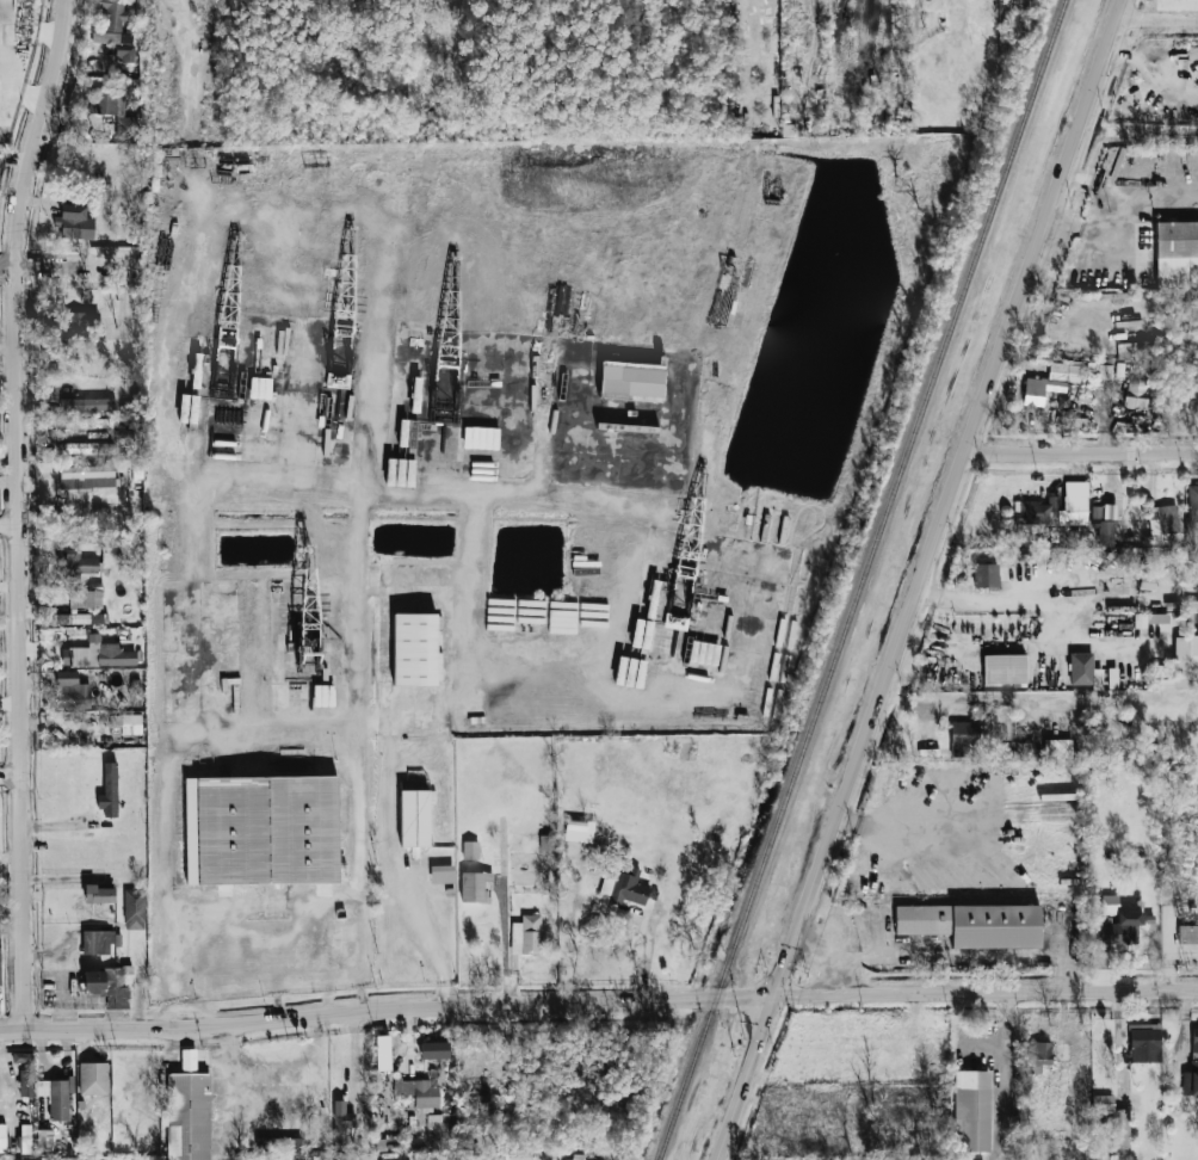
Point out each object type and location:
building: (111, 20)
road: (1155, 21)
building: (124, 53)
building: (113, 111)
building: (74, 222)
road: (1126, 224)
building: (1177, 254)
road: (61, 271)
building: (81, 323)
building: (631, 380)
building: (1050, 382)
building: (73, 424)
building: (88, 448)
road: (1079, 453)
building: (87, 476)
building: (1074, 504)
building: (1193, 504)
road: (13, 511)
building: (1037, 512)
building: (1163, 518)
road: (7, 524)
building: (1105, 532)
building: (80, 562)
building: (986, 575)
road: (916, 579)
railway: (864, 580)
building: (85, 598)
road: (998, 598)
building: (78, 618)
building: (419, 650)
building: (101, 654)
building: (1186, 656)
building: (1005, 668)
building: (1081, 668)
building: (70, 691)
building: (135, 692)
building: (115, 720)
building: (131, 723)
building: (963, 738)
building: (1057, 748)
building: (1026, 749)
road: (172, 761)
road: (8, 777)
building: (109, 790)
building: (413, 817)
road: (894, 820)
building: (261, 832)
building: (546, 841)
building: (470, 850)
building: (440, 874)
road: (403, 882)
building: (473, 884)
building: (623, 887)
building: (98, 894)
building: (134, 908)
building: (1118, 921)
building: (972, 924)
building: (525, 933)
building: (1187, 933)
building: (97, 940)
building: (0, 957)
building: (109, 985)
road: (986, 994)
traffic signals: (773, 997)
road: (385, 1008)
road: (967, 1031)
building: (1194, 1038)
building: (1143, 1042)
building: (382, 1053)
building: (1039, 1054)
building: (24, 1057)
building: (601, 1072)
road: (1007, 1076)
building: (26, 1078)
building: (92, 1078)
building: (1190, 1079)
building: (418, 1091)
building: (55, 1097)
building: (971, 1109)
building: (186, 1111)
building: (8, 1112)
building: (1113, 1118)
building: (340, 1123)
building: (42, 1125)
building: (278, 1143)
building: (319, 1158)
building: (574, 1158)

